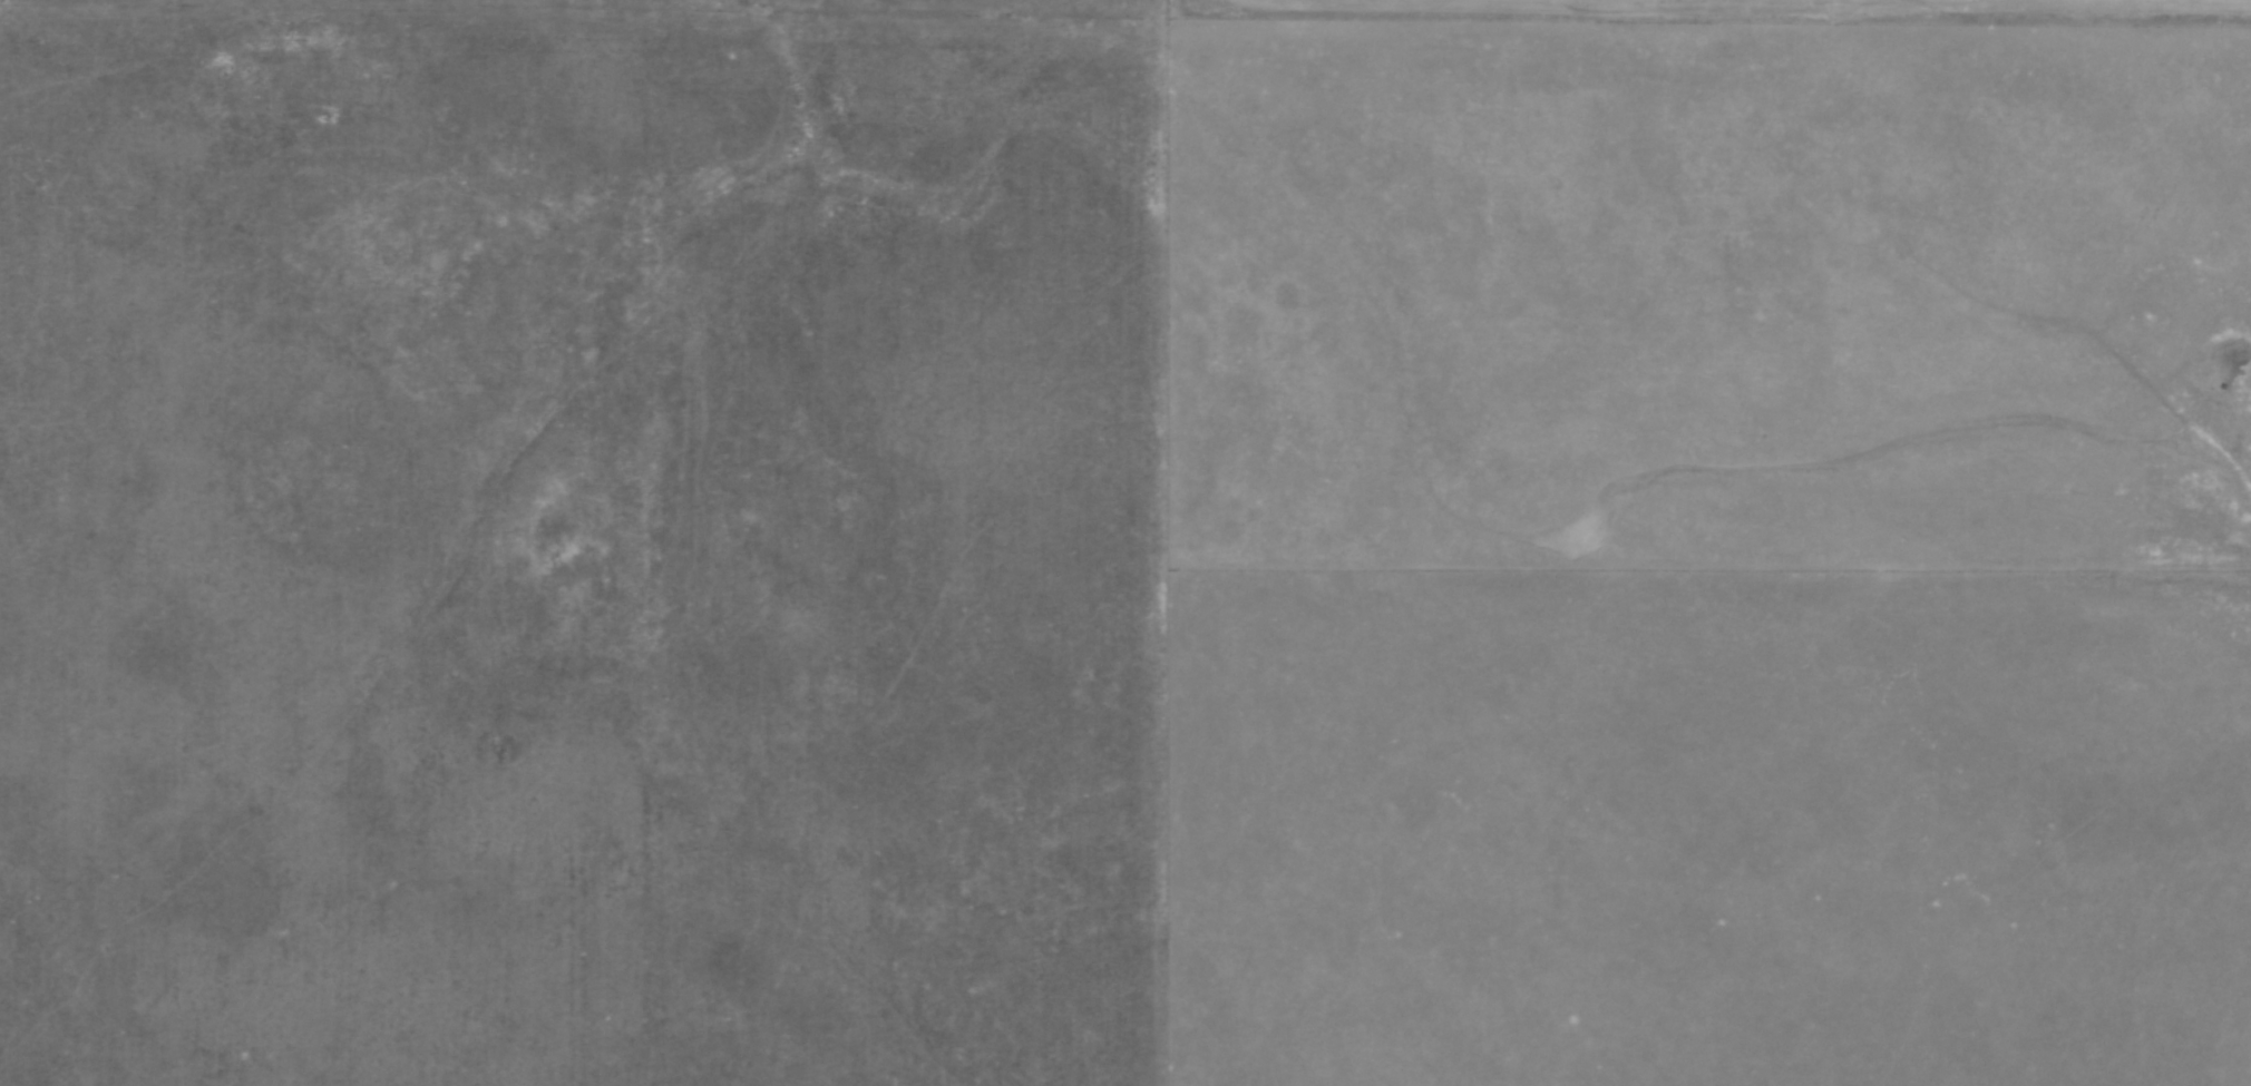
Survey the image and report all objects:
crop: (1832, 2)

